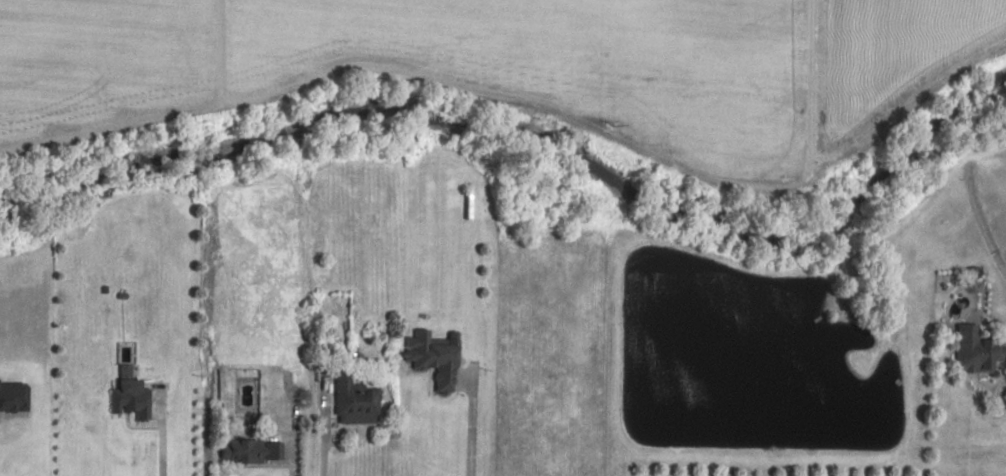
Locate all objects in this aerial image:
building: (977, 350)
building: (435, 358)
building: (132, 399)
building: (355, 401)
road: (409, 426)
road: (320, 430)
road: (292, 432)
road: (160, 437)
building: (253, 450)

